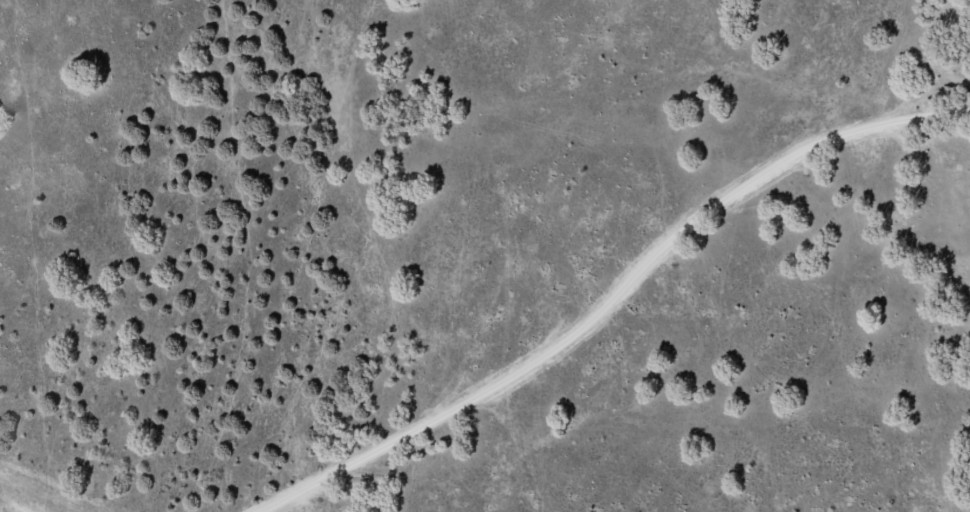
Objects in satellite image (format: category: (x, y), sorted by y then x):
road: (606, 304)

